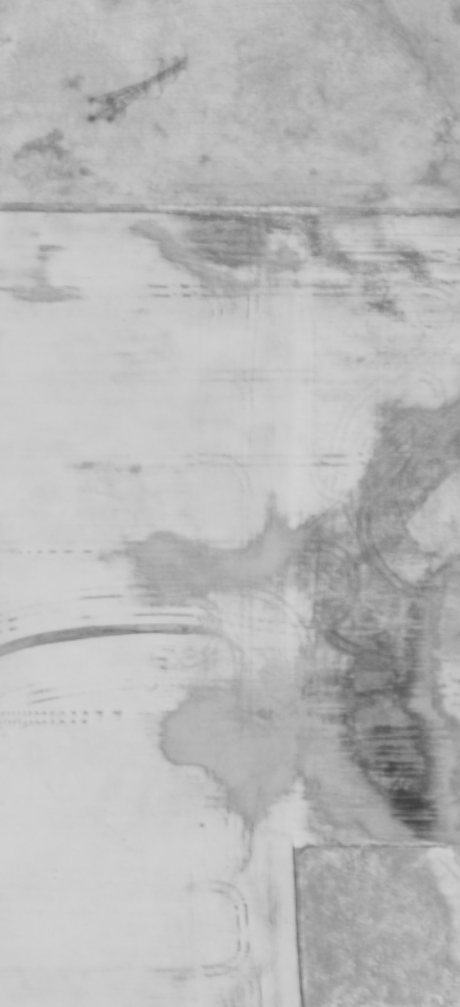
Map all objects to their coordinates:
power tower: (99, 99)
road: (317, 865)
road: (444, 996)

